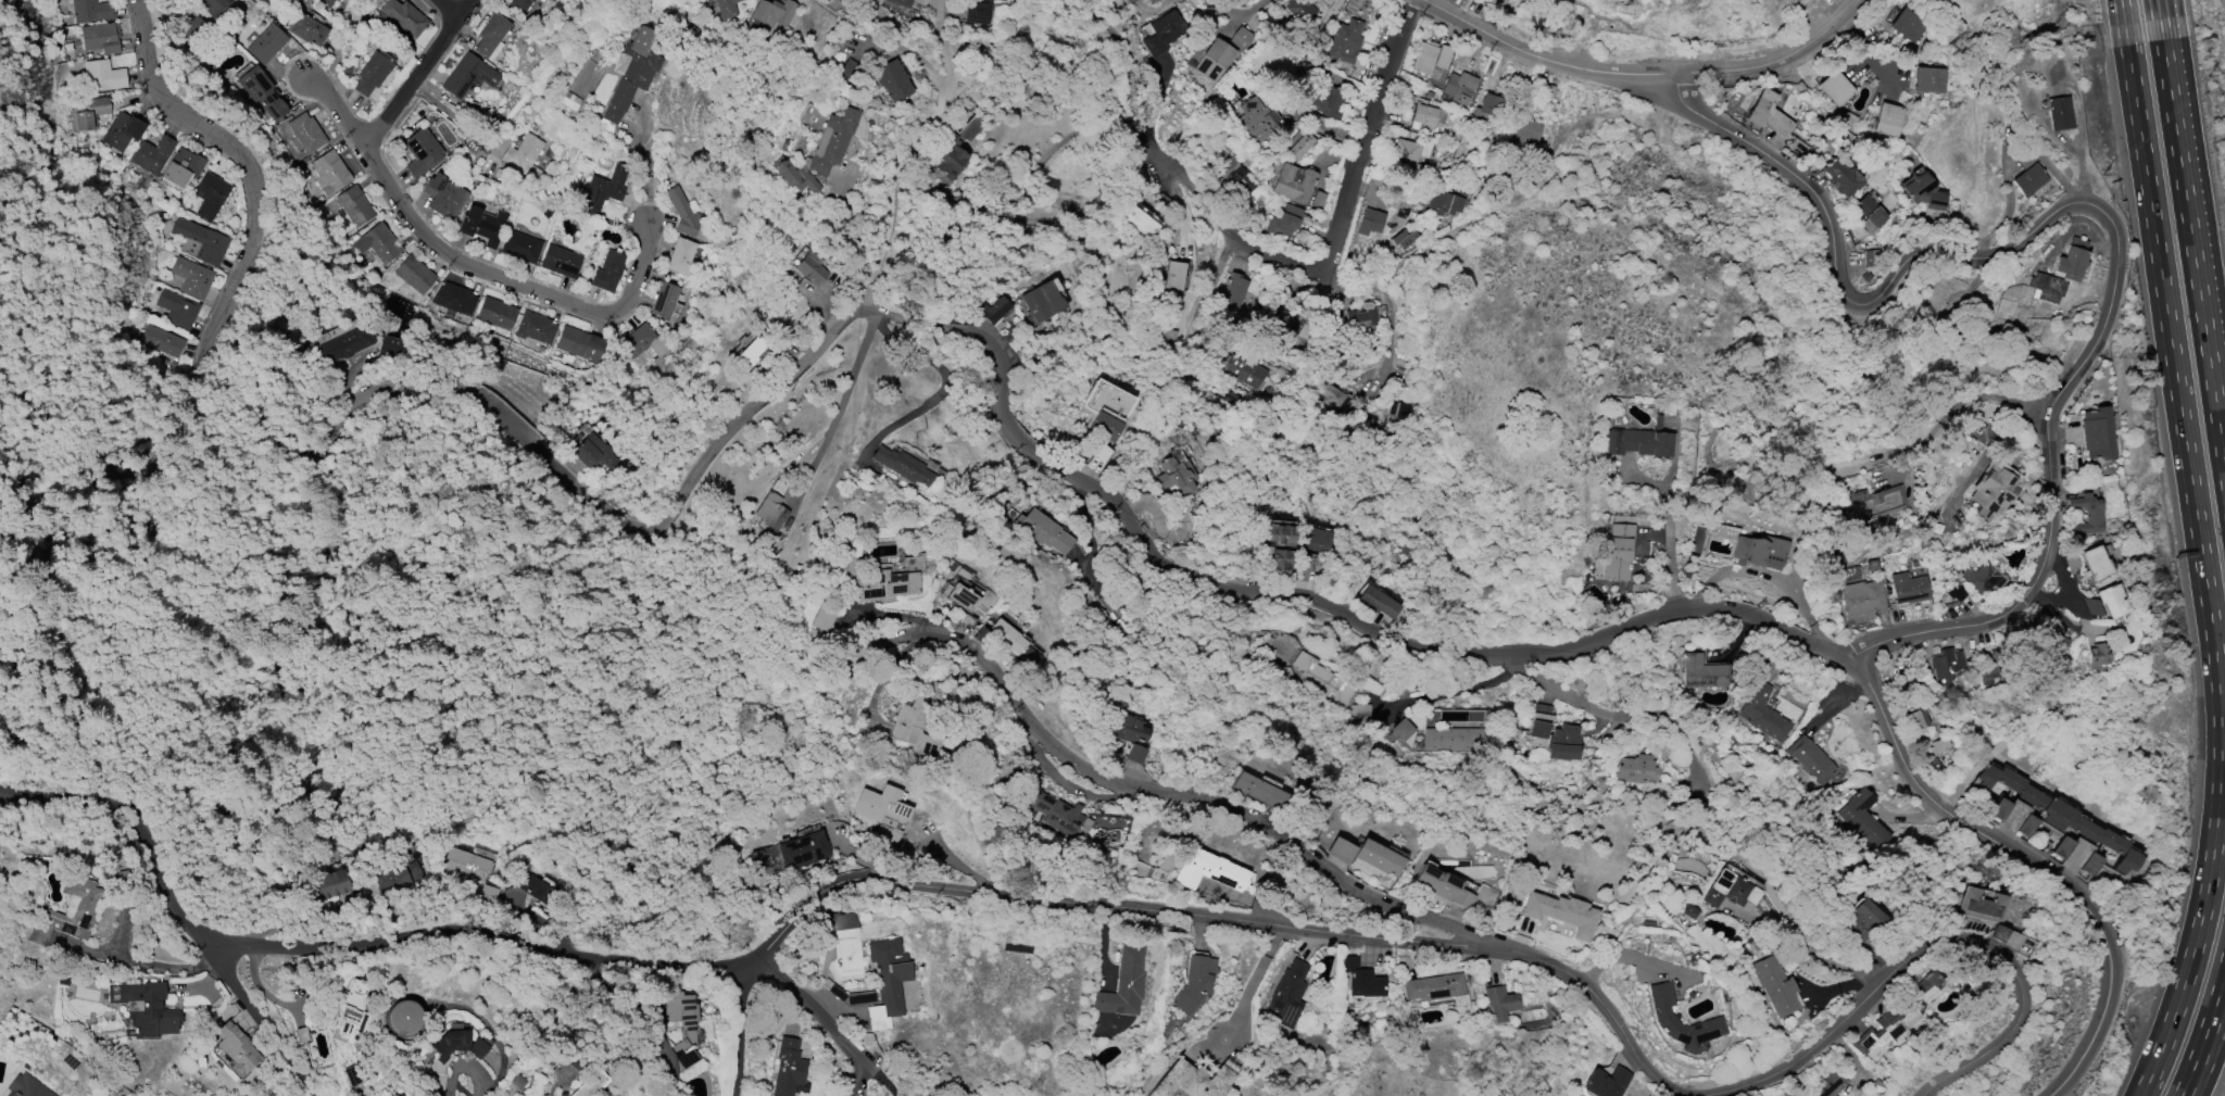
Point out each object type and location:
building: (1517, 0)
building: (1131, 1)
building: (1152, 1)
building: (329, 2)
building: (902, 3)
building: (520, 5)
building: (214, 7)
road: (936, 7)
road: (448, 8)
building: (727, 9)
building: (980, 9)
road: (2157, 10)
building: (90, 11)
building: (1302, 11)
road: (2122, 12)
building: (775, 13)
road: (1243, 15)
building: (405, 17)
building: (1907, 25)
building: (309, 30)
building: (1161, 33)
building: (492, 37)
building: (102, 38)
building: (1241, 40)
building: (1345, 41)
building: (267, 45)
road: (1874, 47)
road: (943, 50)
building: (1424, 58)
building: (1214, 61)
building: (848, 70)
building: (634, 71)
building: (375, 72)
road: (418, 72)
road: (1647, 72)
building: (469, 76)
building: (103, 77)
building: (1928, 80)
building: (893, 81)
building: (1459, 88)
building: (1835, 89)
building: (262, 95)
building: (1430, 97)
building: (1325, 100)
building: (1488, 108)
building: (88, 113)
building: (2058, 113)
building: (1768, 114)
building: (1426, 116)
building: (1850, 117)
building: (1255, 119)
building: (1887, 121)
road: (464, 124)
building: (123, 131)
building: (306, 134)
building: (1524, 135)
road: (1369, 138)
building: (1298, 146)
building: (422, 153)
building: (153, 154)
building: (524, 154)
building: (821, 154)
building: (1405, 154)
building: (951, 159)
road: (644, 160)
building: (184, 168)
building: (330, 173)
building: (1843, 177)
building: (1236, 178)
building: (2029, 180)
building: (1294, 184)
road: (1183, 186)
building: (603, 190)
road: (892, 190)
building: (1923, 192)
building: (211, 196)
building: (445, 197)
building: (1318, 200)
building: (1443, 204)
building: (355, 205)
building: (683, 214)
building: (1869, 214)
building: (1370, 222)
building: (1135, 223)
building: (1284, 223)
building: (482, 226)
building: (1404, 239)
building: (200, 241)
building: (381, 243)
road: (2191, 245)
building: (521, 248)
building: (681, 256)
building: (1871, 260)
building: (562, 262)
road: (468, 265)
building: (813, 269)
building: (2067, 269)
building: (608, 272)
building: (416, 276)
building: (192, 277)
building: (1173, 277)
building: (1234, 290)
road: (1849, 298)
building: (454, 300)
building: (665, 301)
building: (1041, 303)
building: (178, 310)
building: (994, 310)
building: (496, 314)
building: (1361, 318)
building: (537, 329)
building: (163, 341)
building: (644, 342)
road: (1391, 342)
building: (347, 345)
building: (580, 345)
building: (389, 348)
building: (752, 353)
building: (1240, 368)
road: (947, 379)
road: (379, 389)
building: (1332, 398)
road: (843, 399)
road: (1974, 400)
building: (1109, 410)
building: (1398, 414)
building: (1658, 421)
building: (2096, 434)
building: (1638, 443)
building: (598, 455)
building: (904, 466)
building: (1172, 478)
building: (1991, 490)
road: (2048, 501)
building: (1871, 505)
building: (771, 512)
building: (2086, 515)
building: (1042, 532)
road: (1668, 538)
building: (1313, 542)
building: (1281, 550)
building: (1618, 553)
building: (1759, 553)
building: (2070, 562)
building: (2096, 562)
road: (2203, 564)
building: (1984, 577)
building: (888, 585)
building: (1908, 589)
building: (1956, 591)
building: (960, 597)
building: (1862, 597)
building: (2112, 601)
building: (1378, 603)
building: (2094, 607)
building: (825, 616)
road: (1591, 640)
building: (1014, 641)
building: (2045, 642)
building: (2097, 656)
building: (1946, 663)
building: (1702, 672)
building: (1321, 680)
road: (1457, 691)
building: (1360, 714)
building: (1762, 714)
road: (1606, 715)
building: (1915, 720)
building: (1541, 721)
building: (915, 728)
building: (1404, 732)
building: (1130, 736)
building: (1454, 739)
building: (1563, 743)
building: (1939, 745)
building: (1811, 760)
building: (1637, 769)
building: (1259, 792)
road: (1193, 802)
building: (1999, 809)
building: (1053, 811)
building: (2053, 811)
building: (881, 817)
building: (1863, 819)
building: (2026, 827)
road: (137, 831)
building: (2062, 847)
building: (803, 851)
building: (1340, 851)
building: (766, 858)
building: (1379, 858)
building: (2089, 865)
building: (467, 866)
building: (1208, 871)
building: (400, 879)
building: (326, 887)
building: (1443, 887)
building: (1730, 891)
building: (1982, 906)
building: (81, 908)
building: (1688, 912)
building: (1561, 914)
building: (841, 922)
road: (1239, 923)
building: (1647, 923)
building: (1864, 923)
building: (1998, 934)
road: (146, 966)
building: (1361, 980)
building: (888, 983)
building: (1194, 983)
building: (1124, 985)
building: (1774, 985)
road: (1258, 986)
building: (1433, 988)
building: (1286, 995)
building: (1498, 1003)
building: (1460, 1004)
building: (146, 1010)
building: (351, 1015)
building: (1661, 1016)
building: (403, 1018)
building: (1897, 1019)
road: (829, 1020)
road: (267, 1029)
road: (742, 1030)
road: (2205, 1036)
building: (690, 1040)
building: (238, 1048)
building: (445, 1057)
road: (462, 1066)
building: (789, 1068)
building: (1194, 1080)
road: (883, 1082)
building: (1605, 1082)
building: (593, 1084)
building: (1826, 1085)
building: (26, 1087)
road: (460, 1089)
building: (394, 1095)

